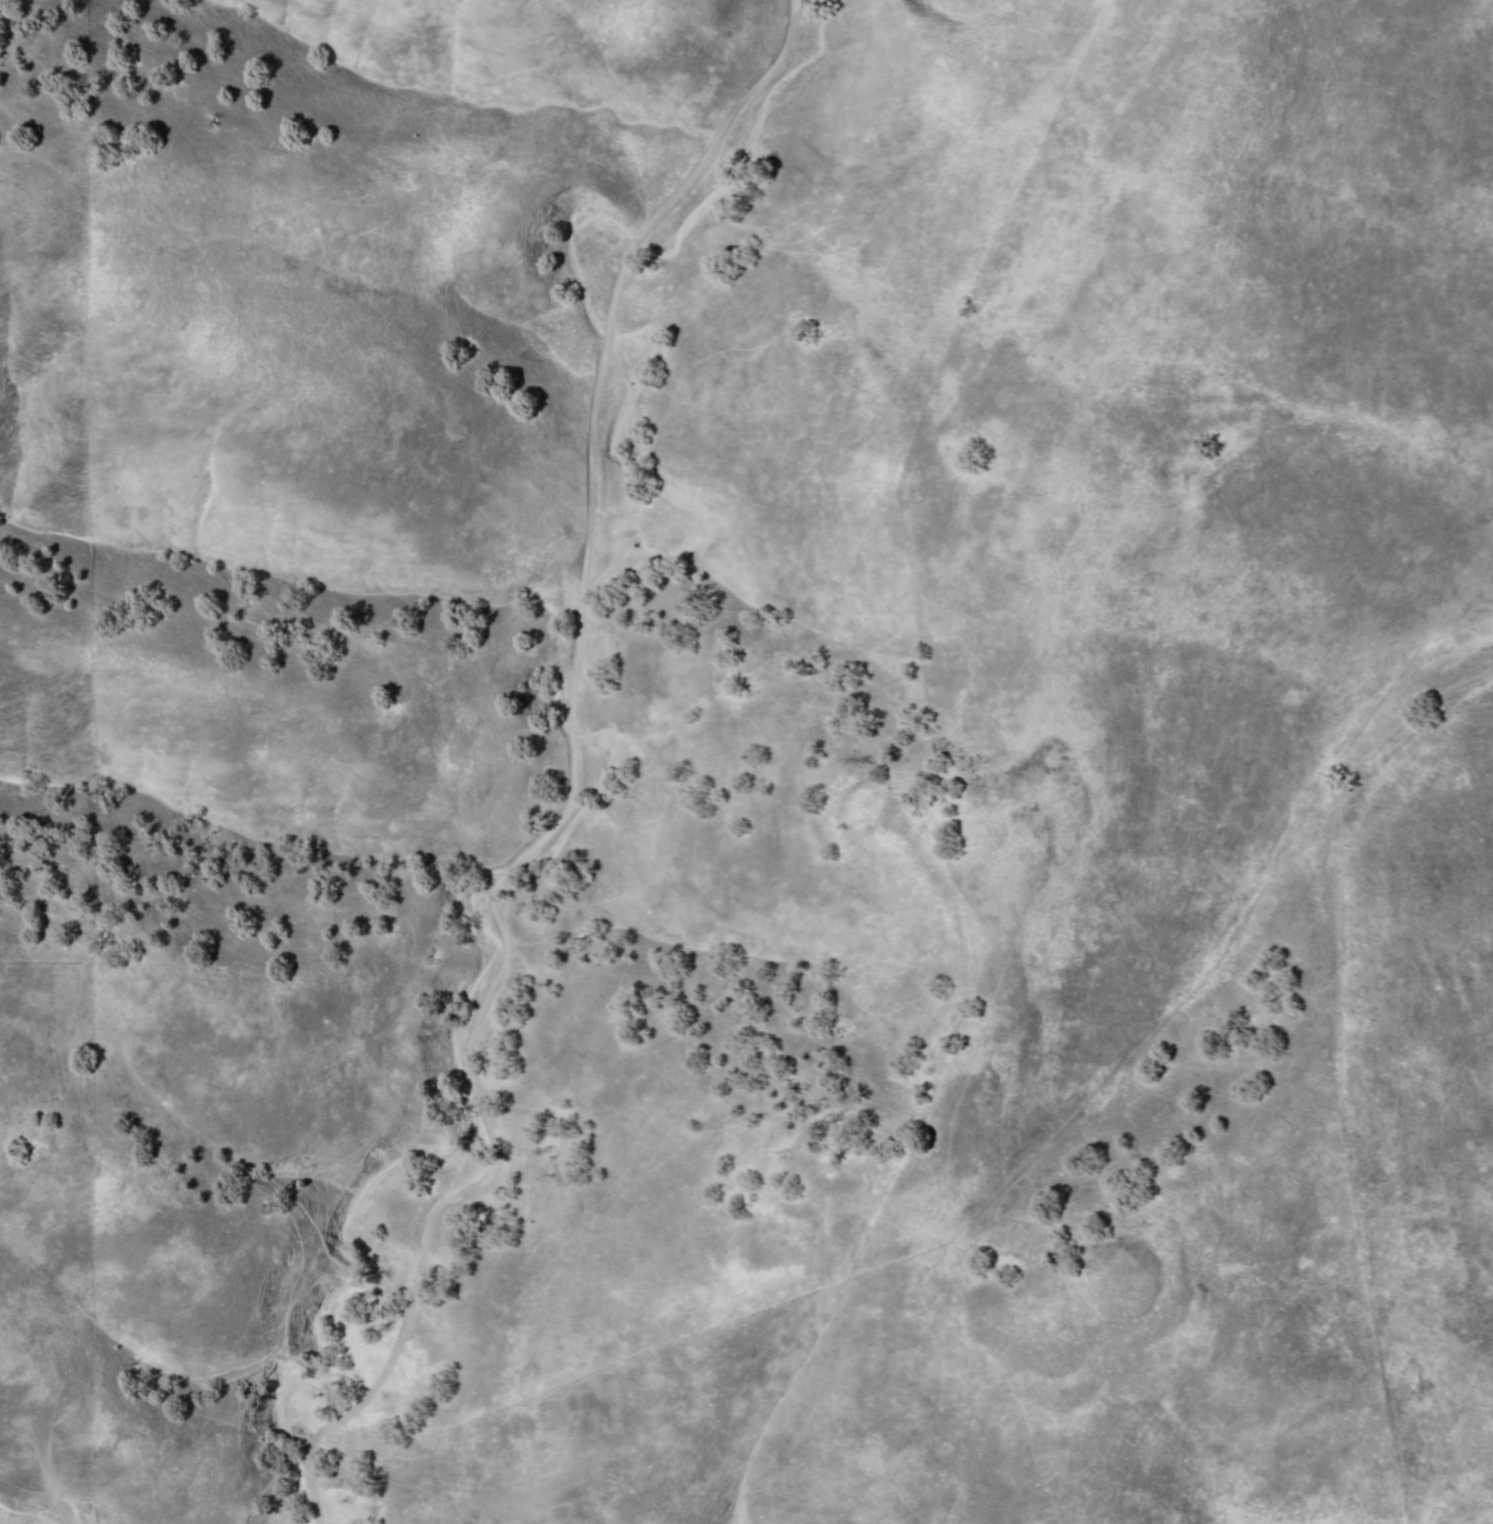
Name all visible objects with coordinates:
road: (576, 788)

